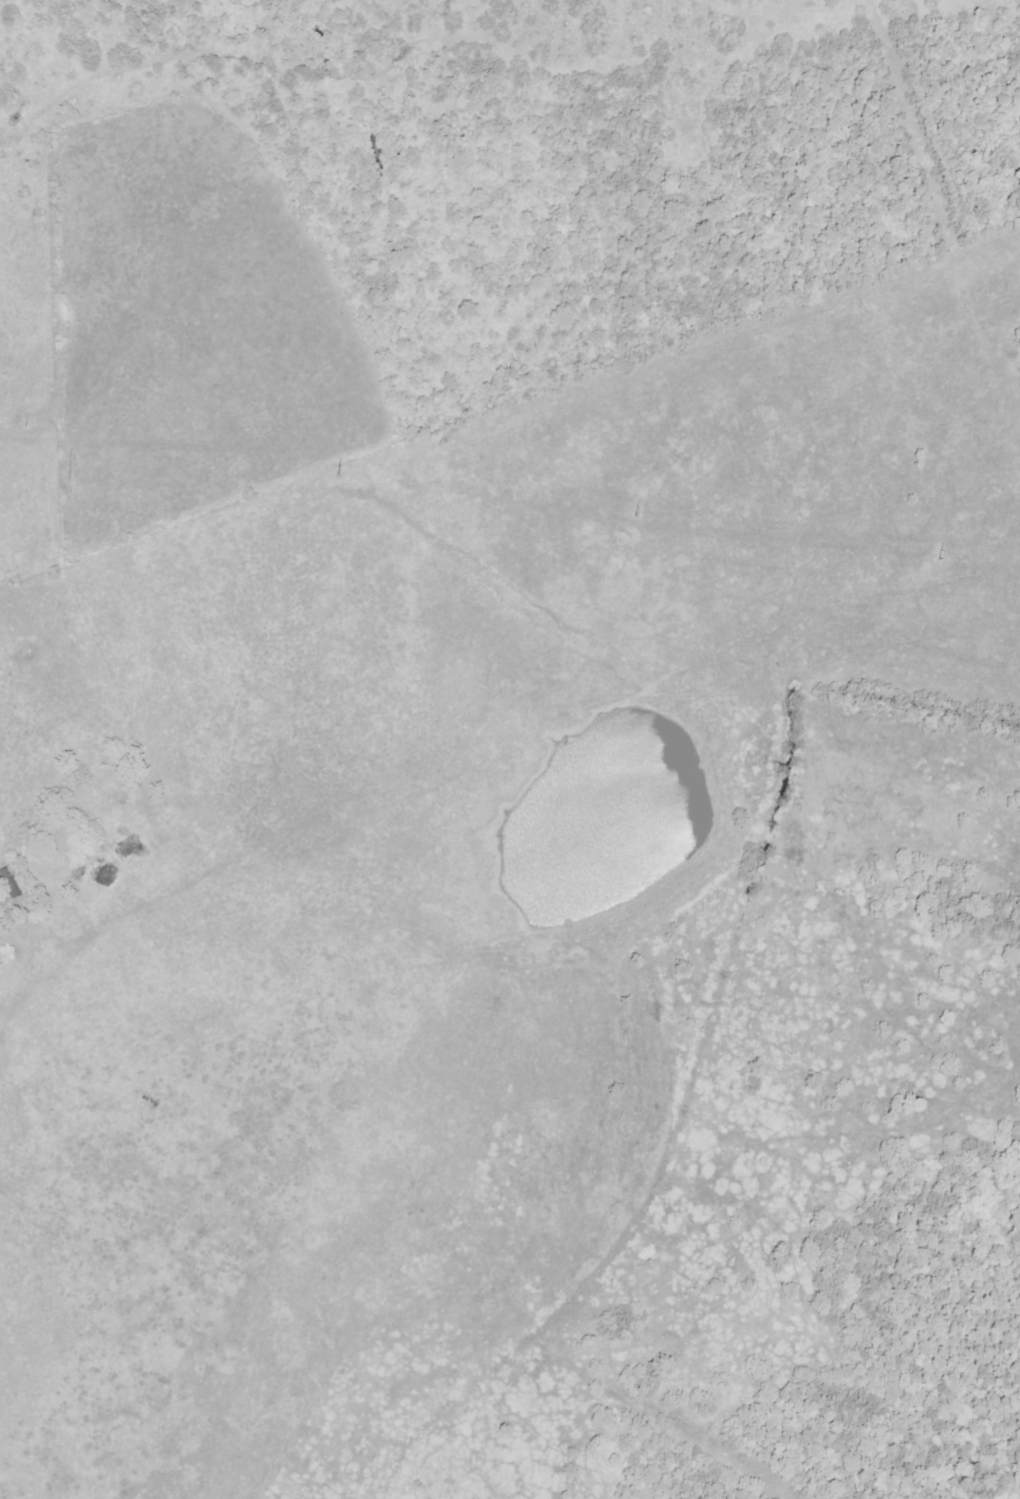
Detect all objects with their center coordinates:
power tower: (18, 423)
power tower: (329, 465)
power tower: (632, 508)
power tower: (933, 551)
road: (5, 972)

